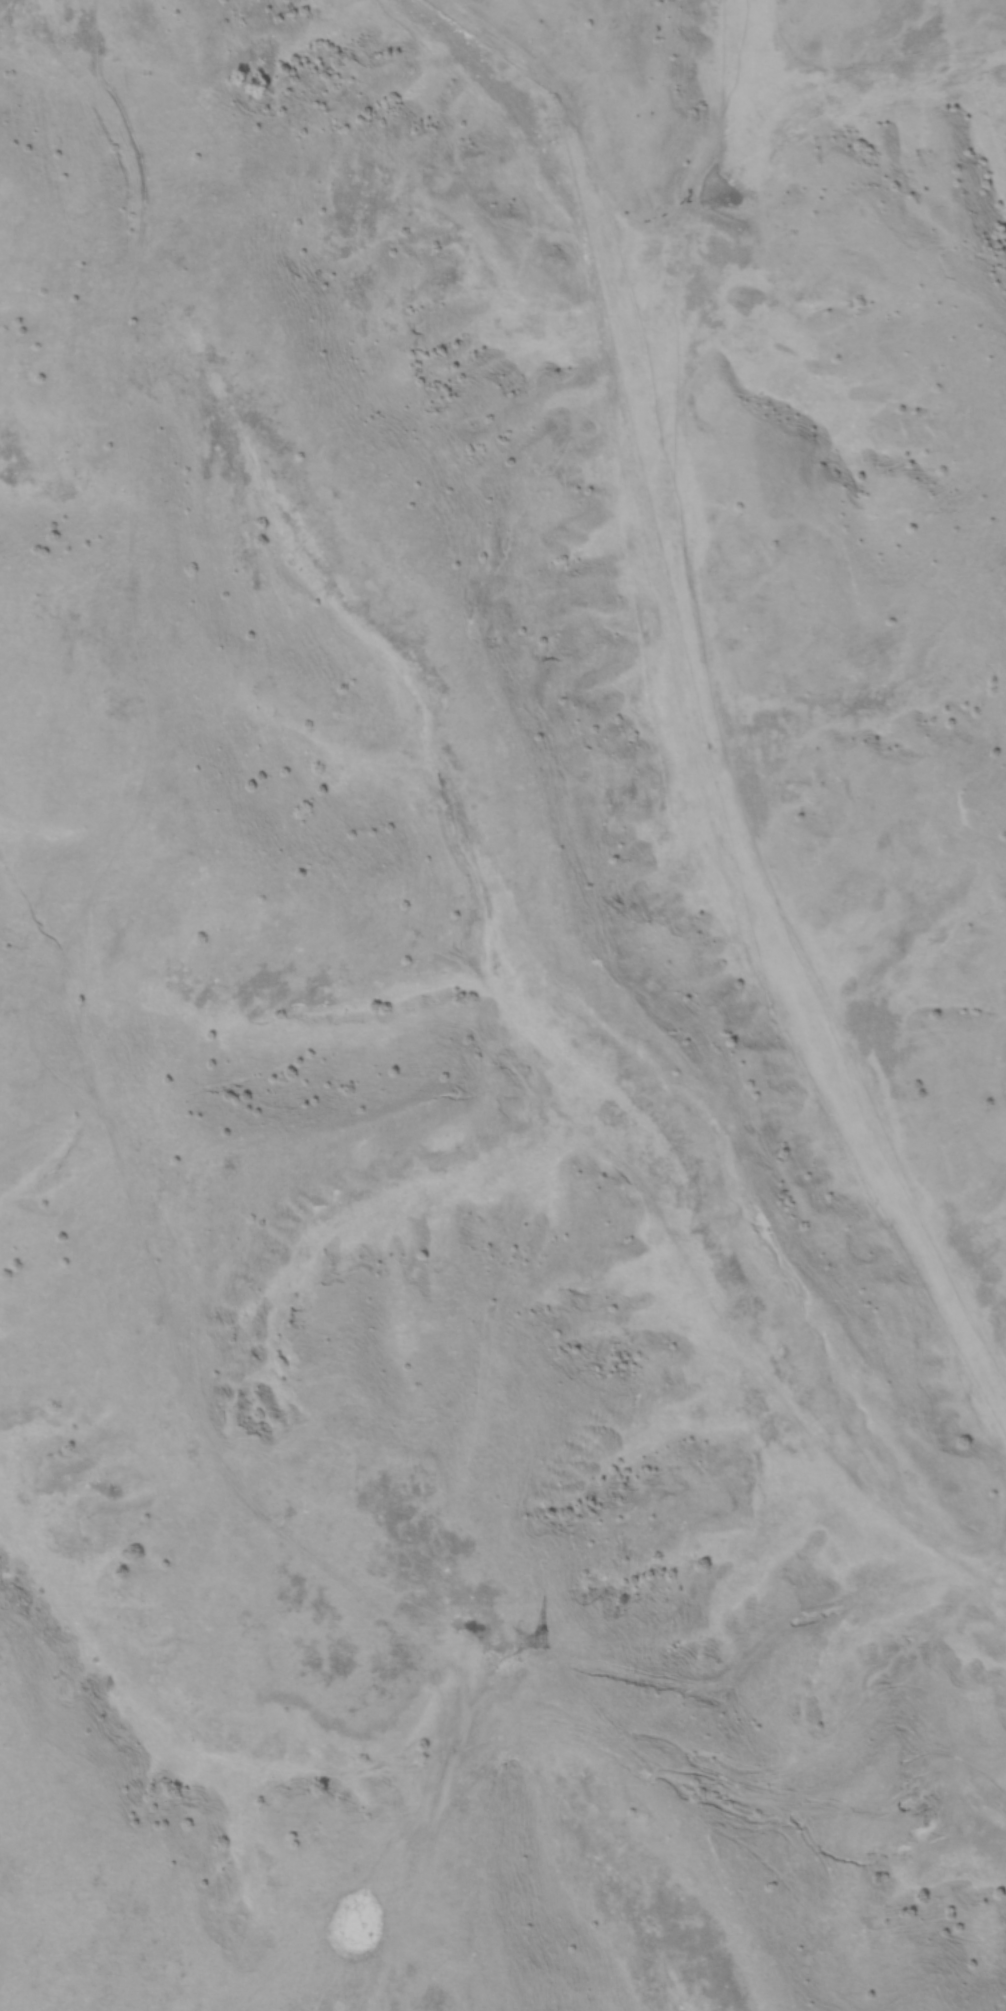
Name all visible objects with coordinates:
power tower: (539, 1639)

